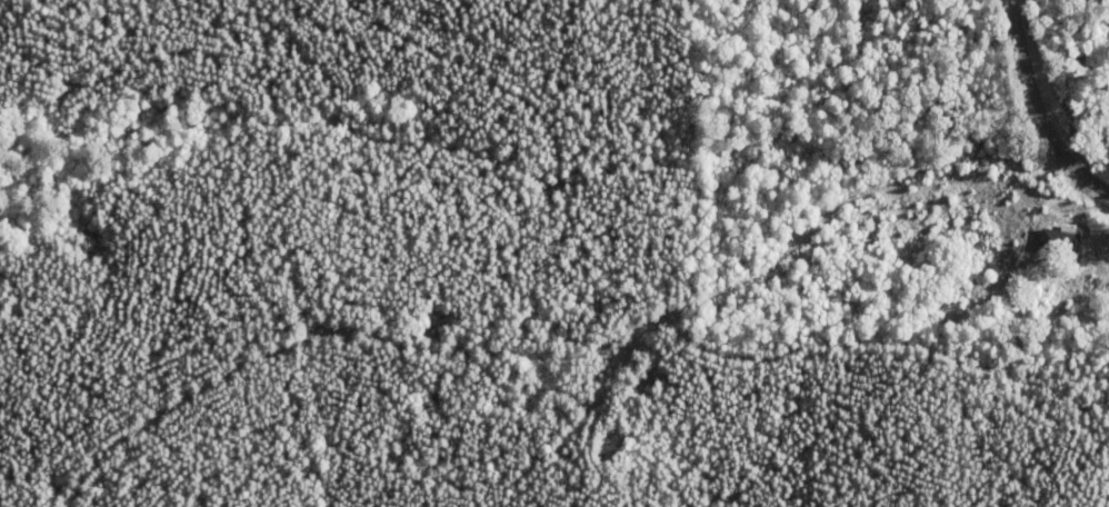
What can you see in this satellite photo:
road: (1067, 86)
building: (1061, 238)

